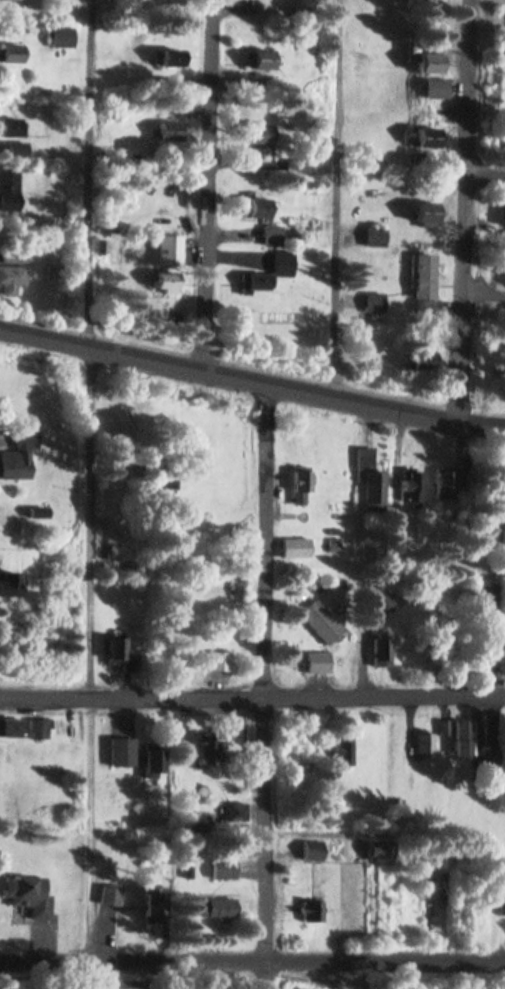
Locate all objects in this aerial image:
building: (63, 36)
building: (12, 53)
building: (168, 58)
building: (261, 60)
building: (432, 63)
building: (437, 88)
building: (13, 127)
building: (171, 131)
building: (260, 134)
building: (429, 137)
building: (19, 149)
road: (486, 174)
road: (200, 185)
building: (10, 189)
road: (336, 198)
building: (259, 207)
road: (466, 211)
building: (428, 212)
building: (272, 233)
building: (377, 235)
building: (168, 249)
building: (283, 262)
building: (426, 275)
building: (167, 281)
building: (255, 281)
road: (485, 294)
building: (375, 301)
building: (504, 368)
road: (251, 379)
building: (19, 454)
building: (161, 477)
road: (86, 478)
building: (371, 478)
building: (448, 483)
building: (301, 485)
building: (411, 485)
building: (295, 546)
building: (10, 581)
building: (381, 599)
building: (320, 620)
building: (117, 649)
building: (382, 650)
building: (220, 659)
building: (318, 660)
road: (250, 685)
road: (252, 700)
building: (24, 726)
building: (463, 737)
building: (425, 742)
building: (208, 747)
building: (341, 749)
building: (124, 750)
building: (487, 756)
building: (154, 761)
building: (113, 788)
building: (239, 809)
building: (312, 849)
building: (380, 849)
building: (222, 867)
building: (29, 893)
building: (110, 894)
building: (502, 904)
building: (152, 905)
building: (216, 909)
building: (312, 910)
road: (252, 961)
building: (122, 984)

